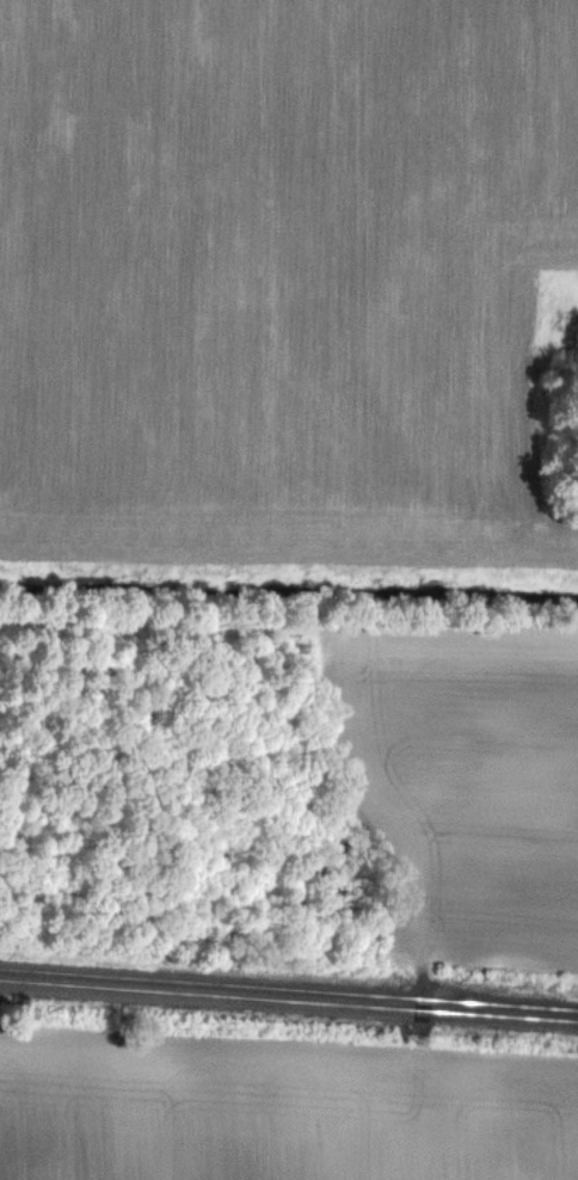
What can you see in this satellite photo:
crop: (466, 786)
railway: (289, 989)
railway: (289, 998)

